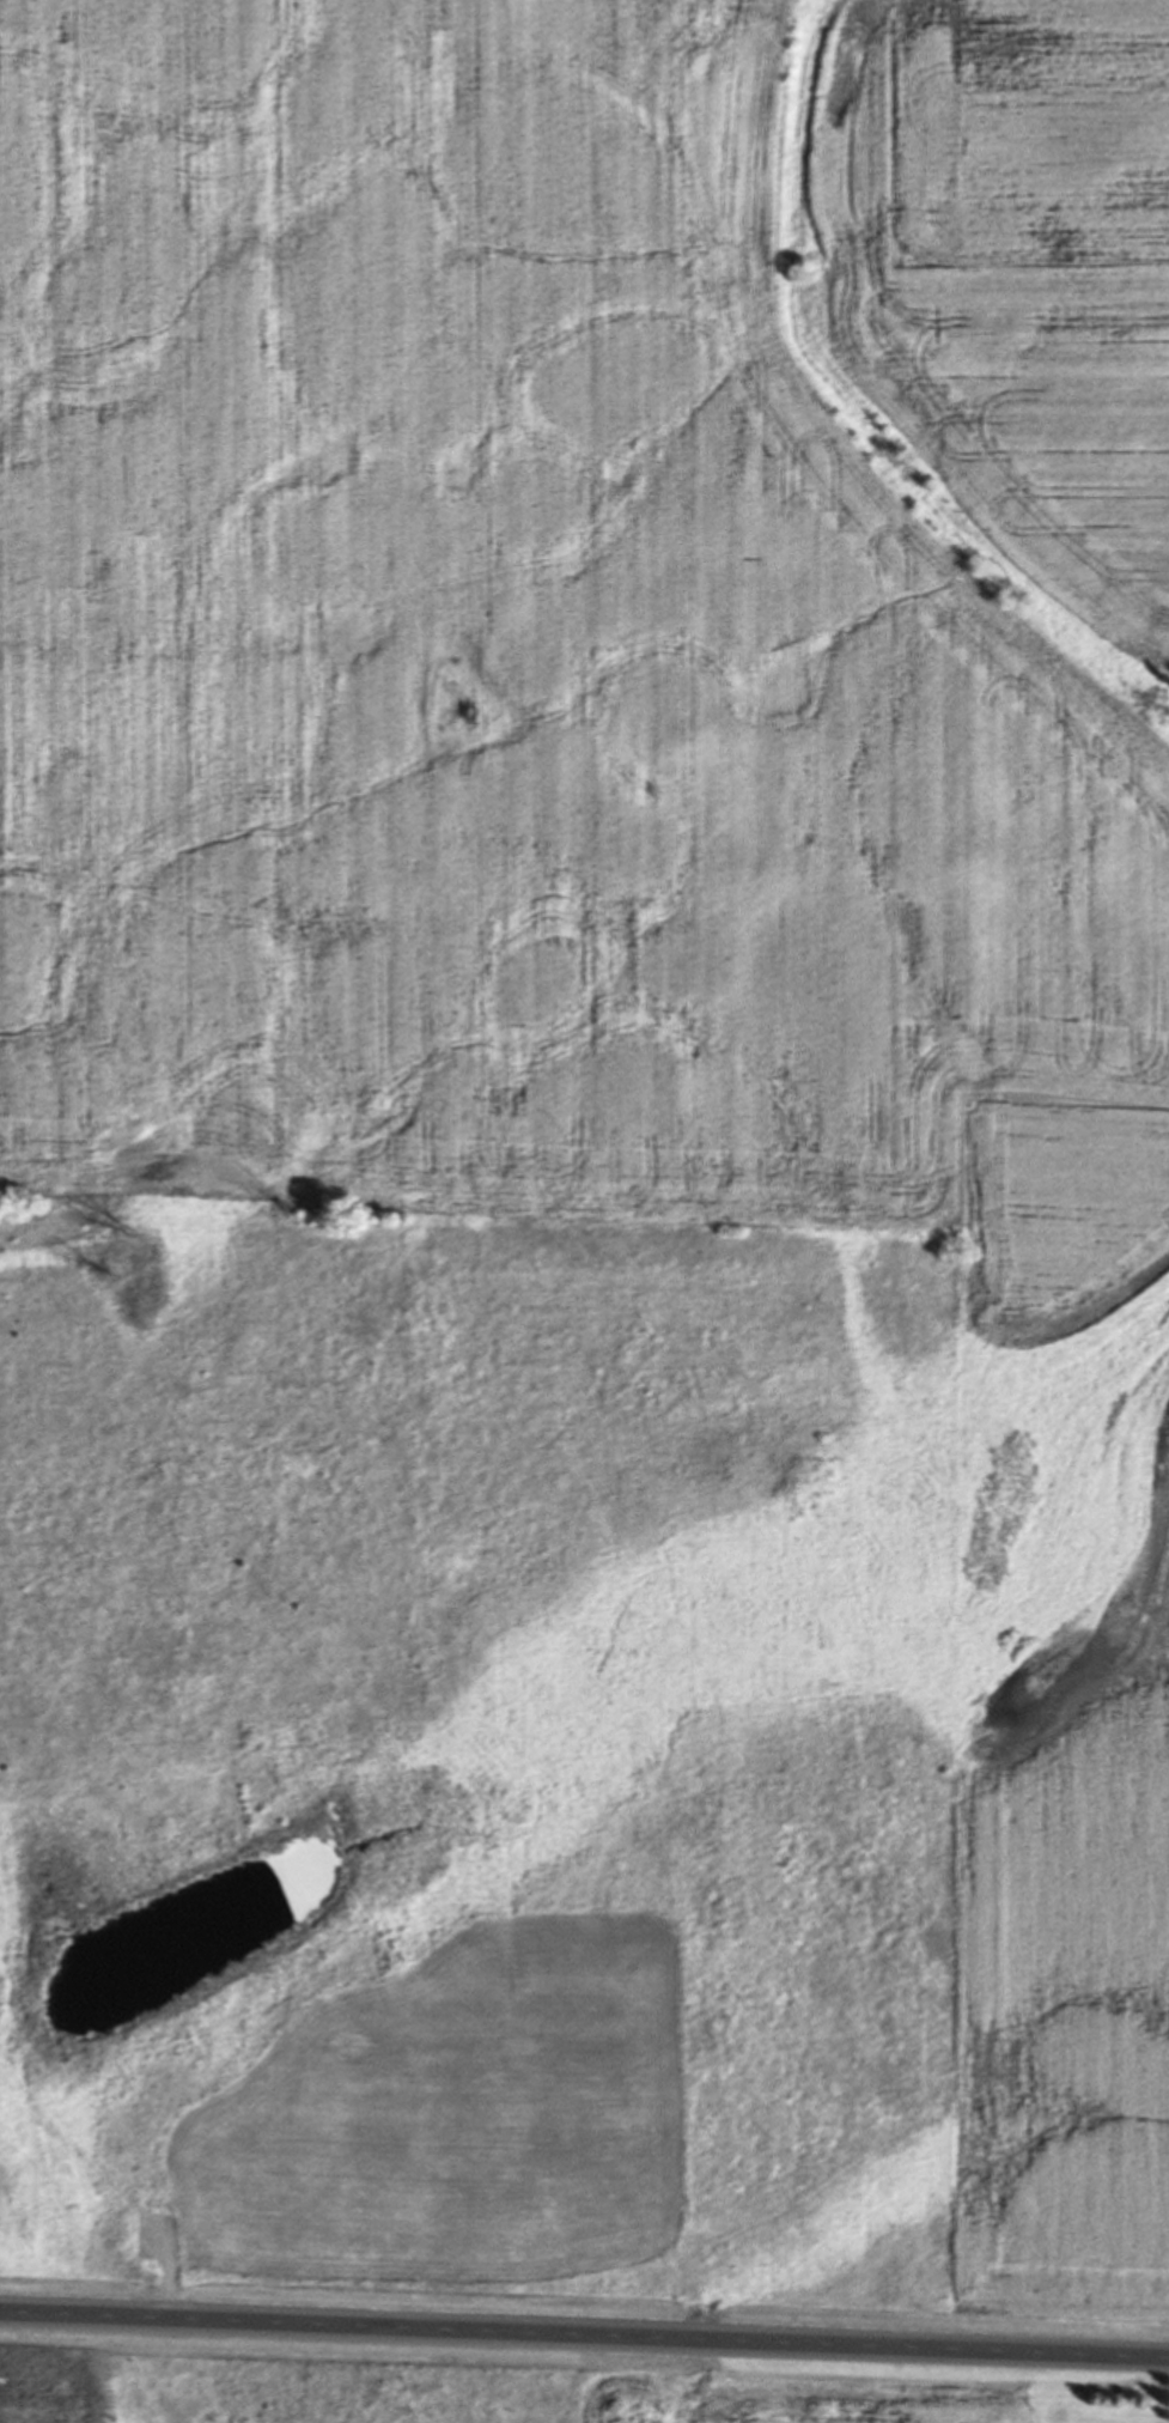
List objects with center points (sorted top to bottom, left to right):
road: (584, 2333)

